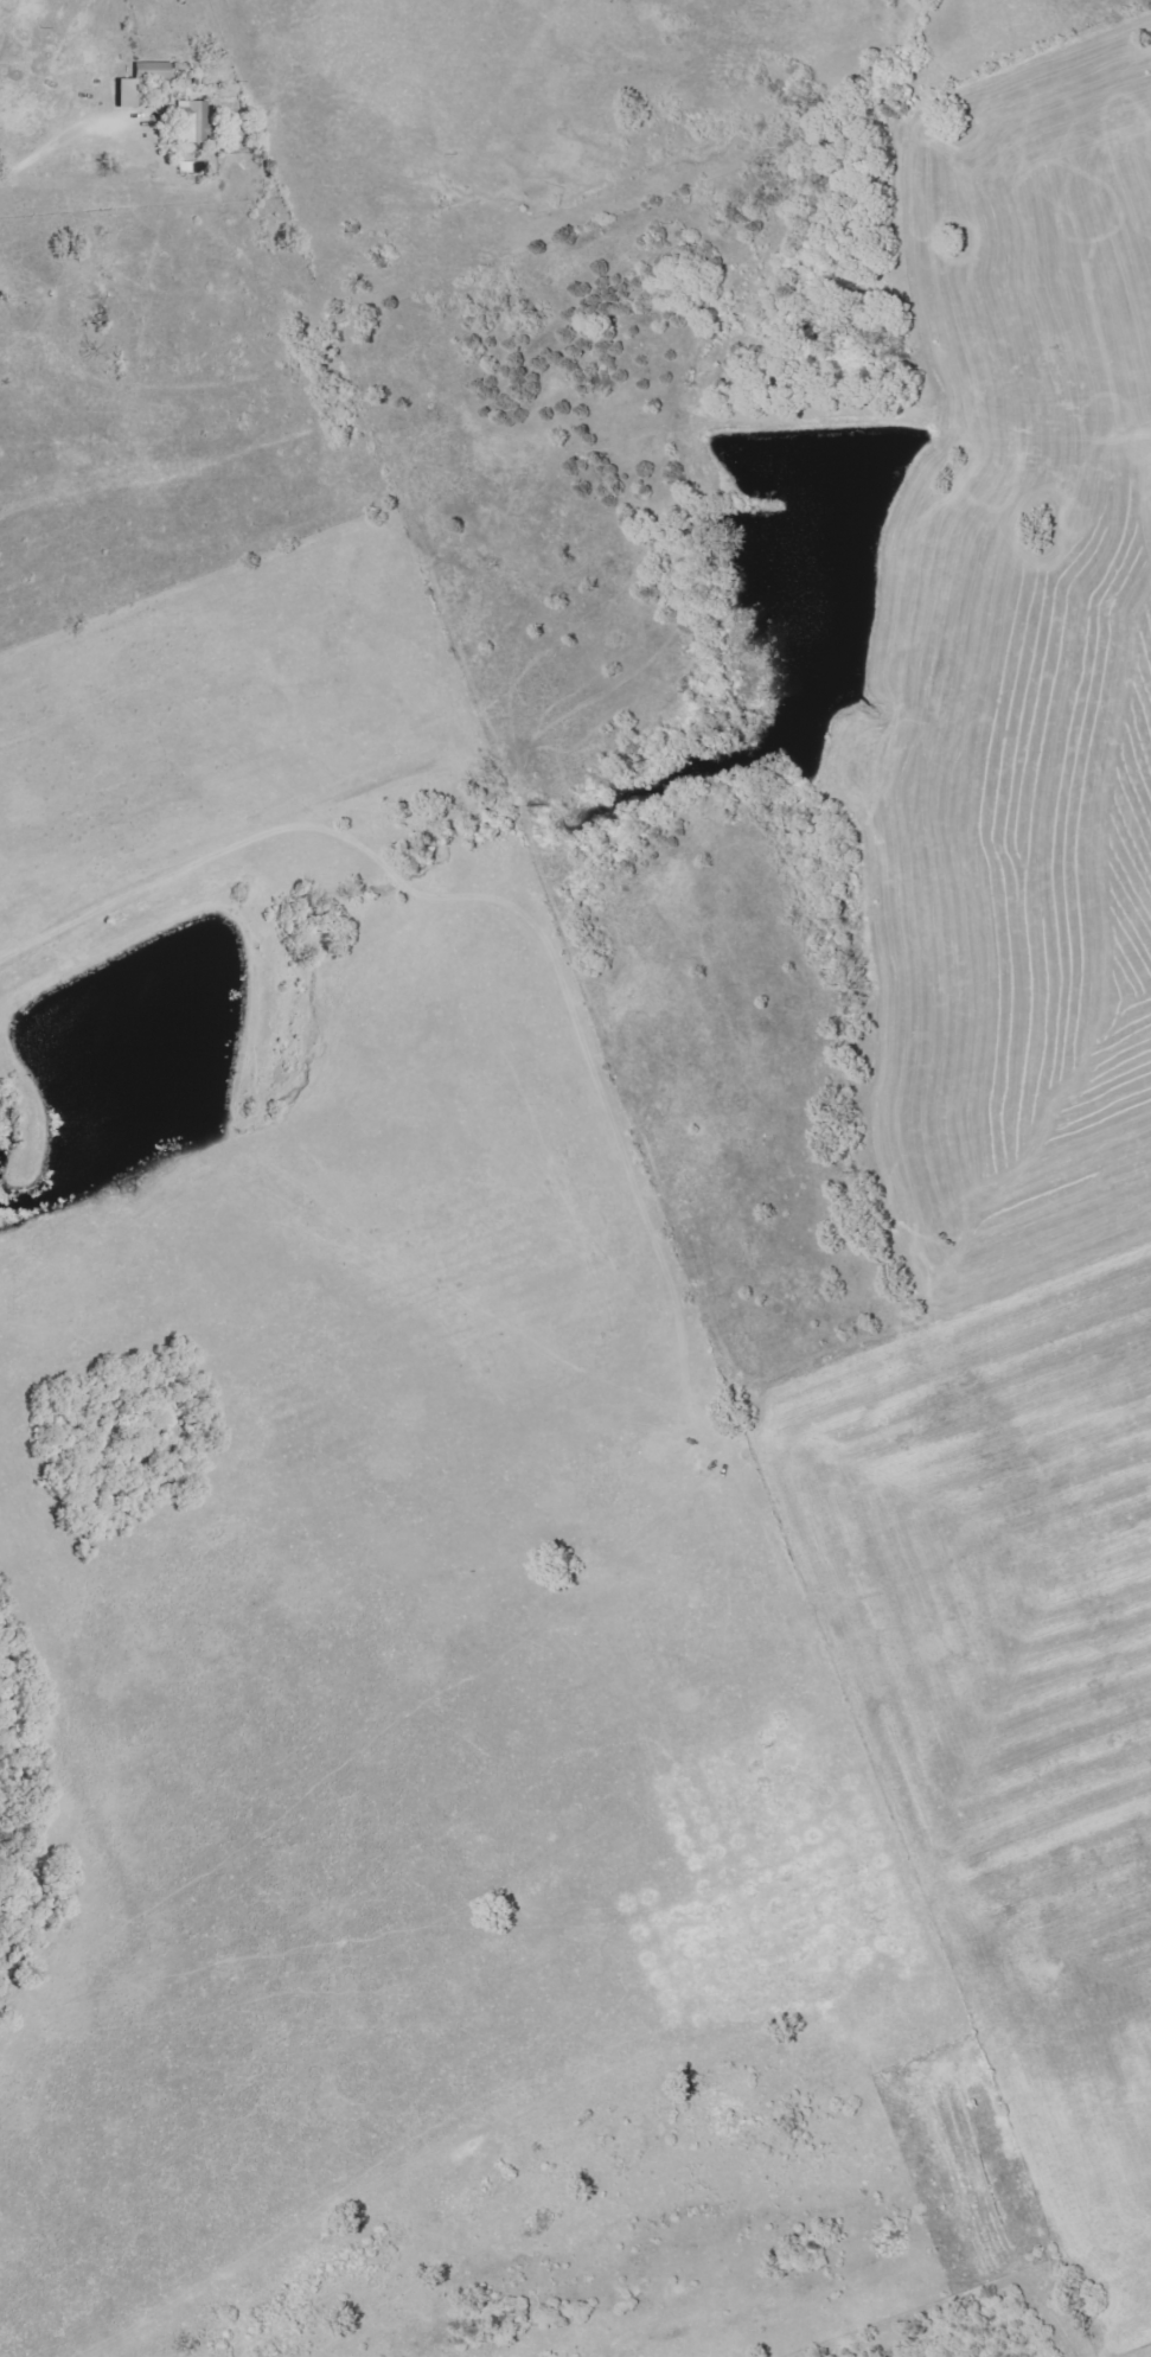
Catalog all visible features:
building: (124, 92)
building: (190, 120)
road: (62, 132)

